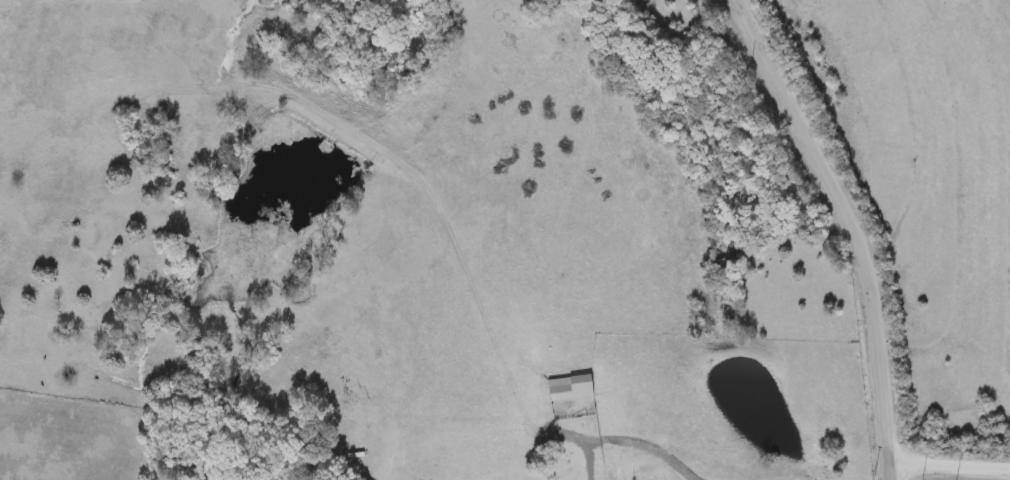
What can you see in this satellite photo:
road: (855, 226)
building: (568, 388)
road: (628, 442)
road: (947, 464)

